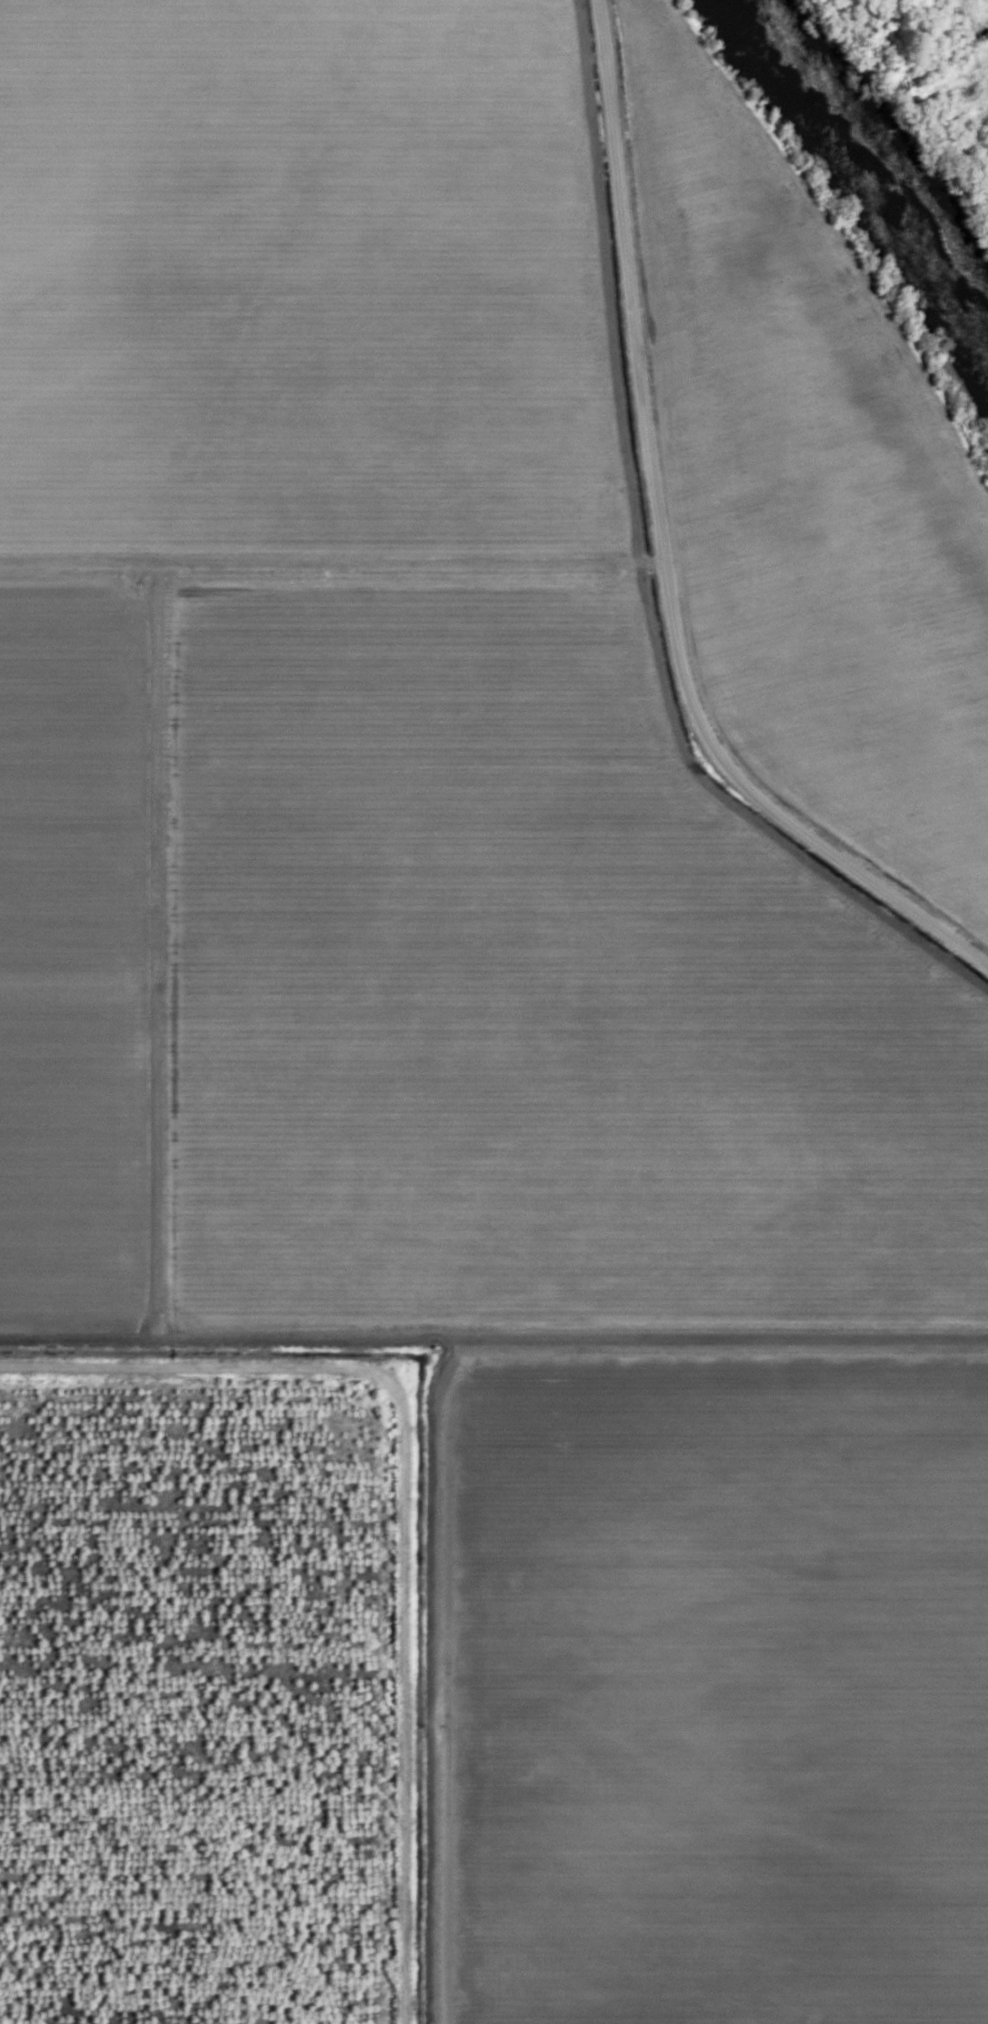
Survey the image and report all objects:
river: (873, 177)
road: (631, 579)
road: (407, 1527)

